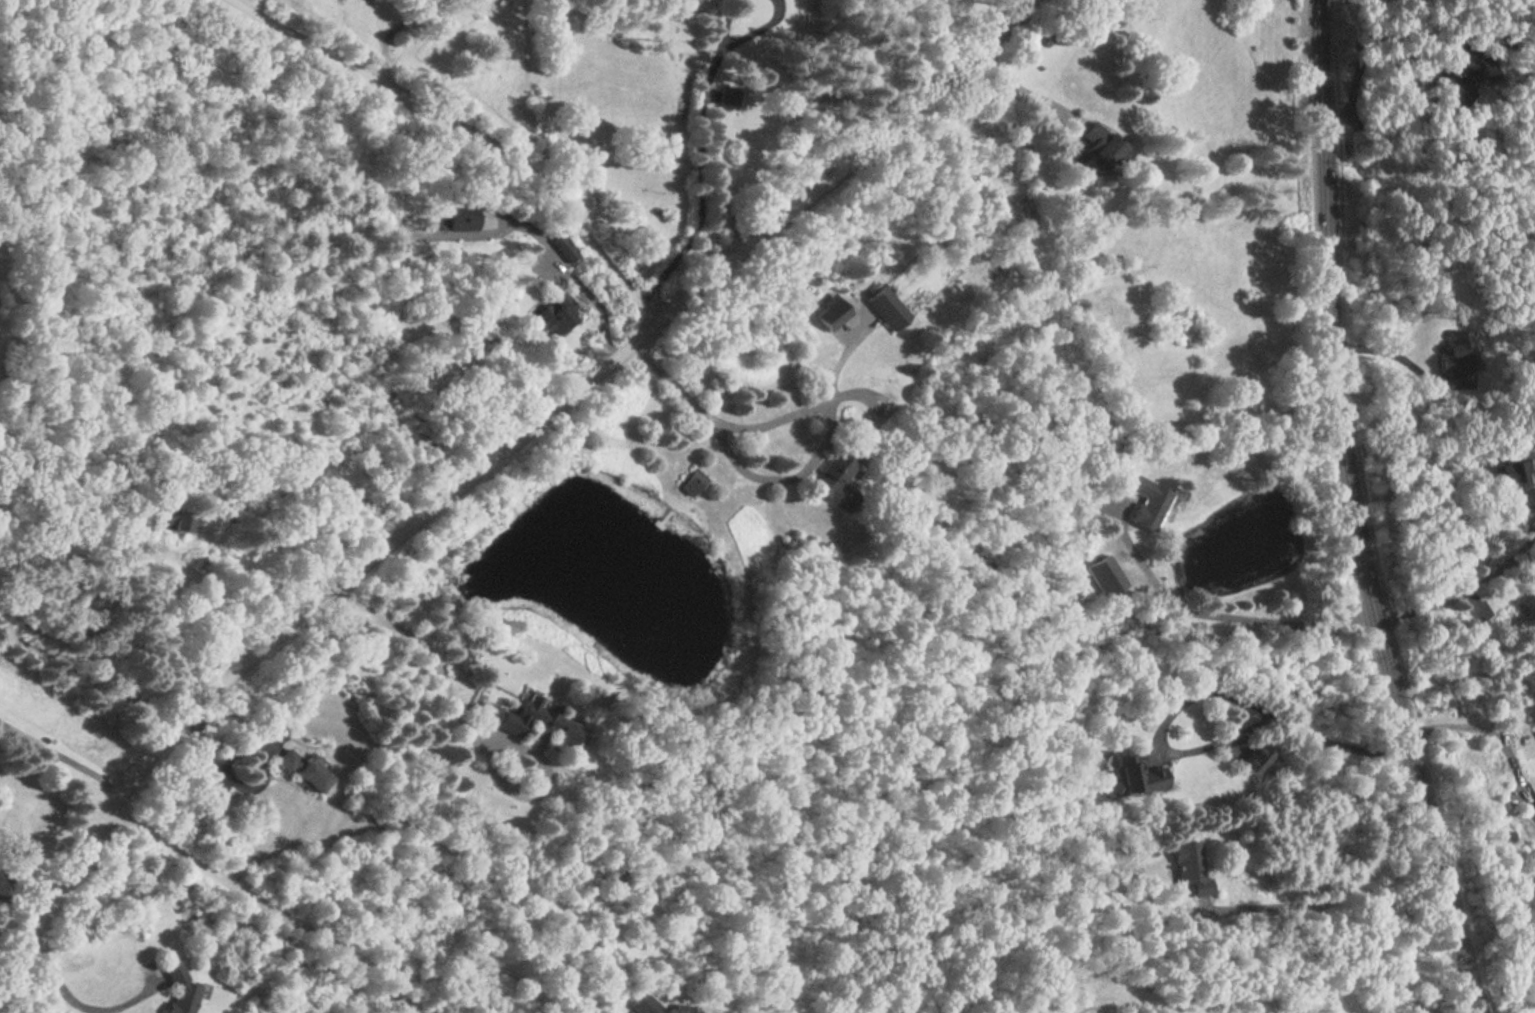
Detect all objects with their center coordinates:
road: (426, 3)
road: (446, 5)
road: (387, 39)
road: (1364, 55)
road: (1023, 82)
road: (466, 131)
building: (1098, 145)
road: (708, 170)
road: (558, 252)
building: (888, 308)
building: (834, 315)
building: (553, 317)
road: (1384, 352)
road: (748, 428)
road: (482, 465)
building: (1514, 476)
road: (779, 480)
building: (833, 481)
building: (692, 484)
building: (1148, 503)
road: (1354, 512)
road: (1472, 589)
road: (1223, 612)
road: (87, 677)
road: (1465, 678)
building: (530, 722)
road: (473, 728)
road: (1476, 730)
road: (1217, 755)
road: (60, 758)
building: (1256, 759)
building: (305, 771)
building: (1133, 776)
road: (252, 779)
building: (1188, 861)
road: (249, 894)
road: (1346, 901)
road: (482, 972)
road: (392, 985)
building: (178, 991)
road: (389, 1001)
road: (408, 1001)
road: (1217, 1001)
road: (76, 1004)
building: (656, 1007)

